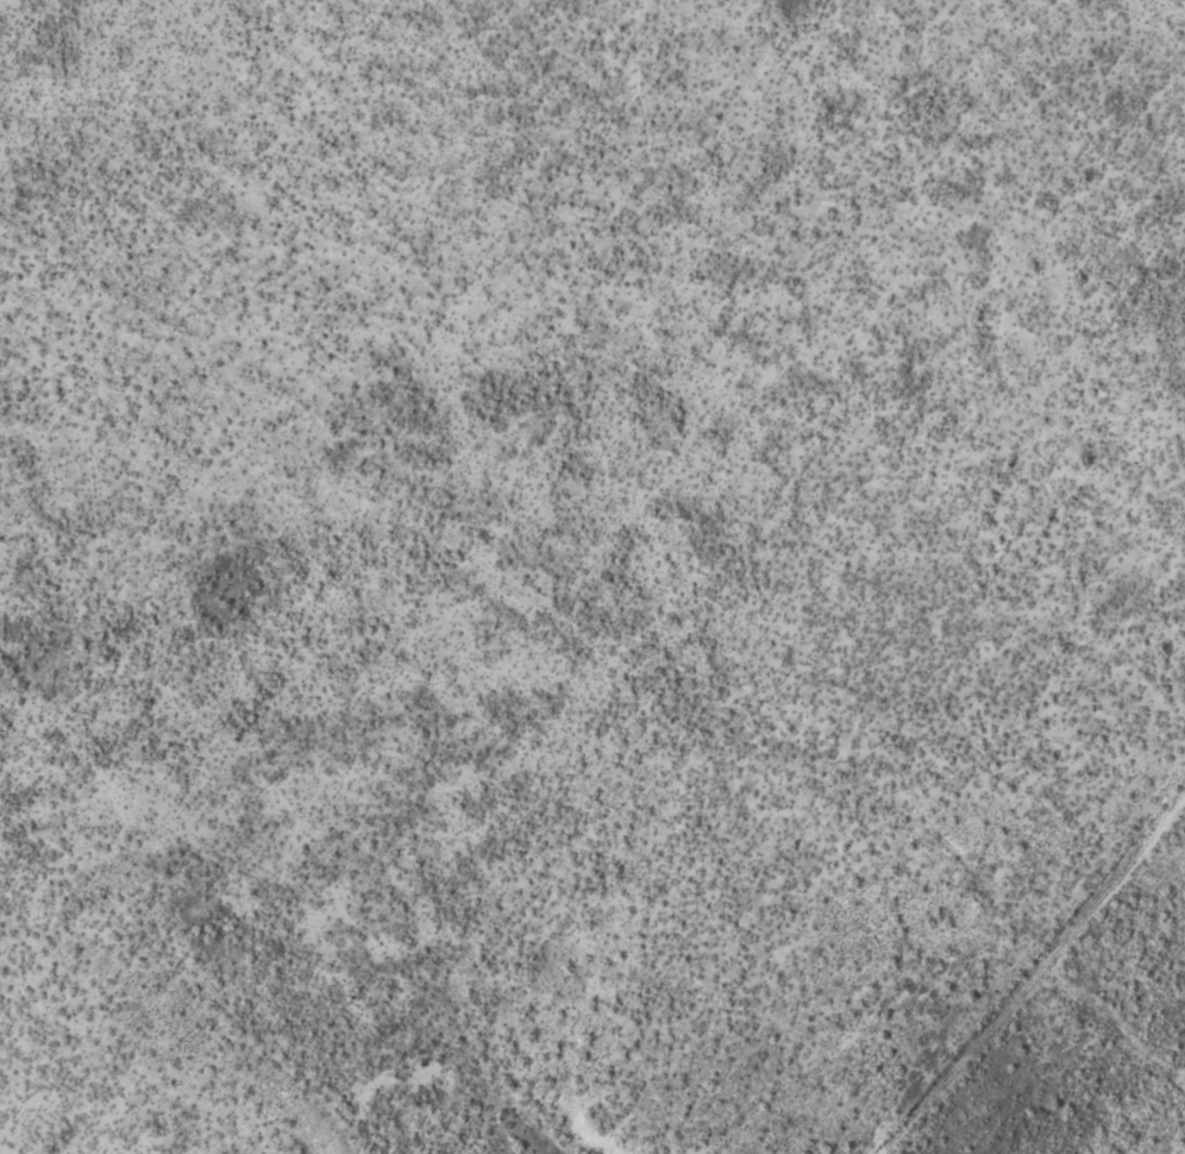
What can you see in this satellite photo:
road: (1180, 4)
road: (1109, 889)
road: (955, 967)
road: (1022, 995)

